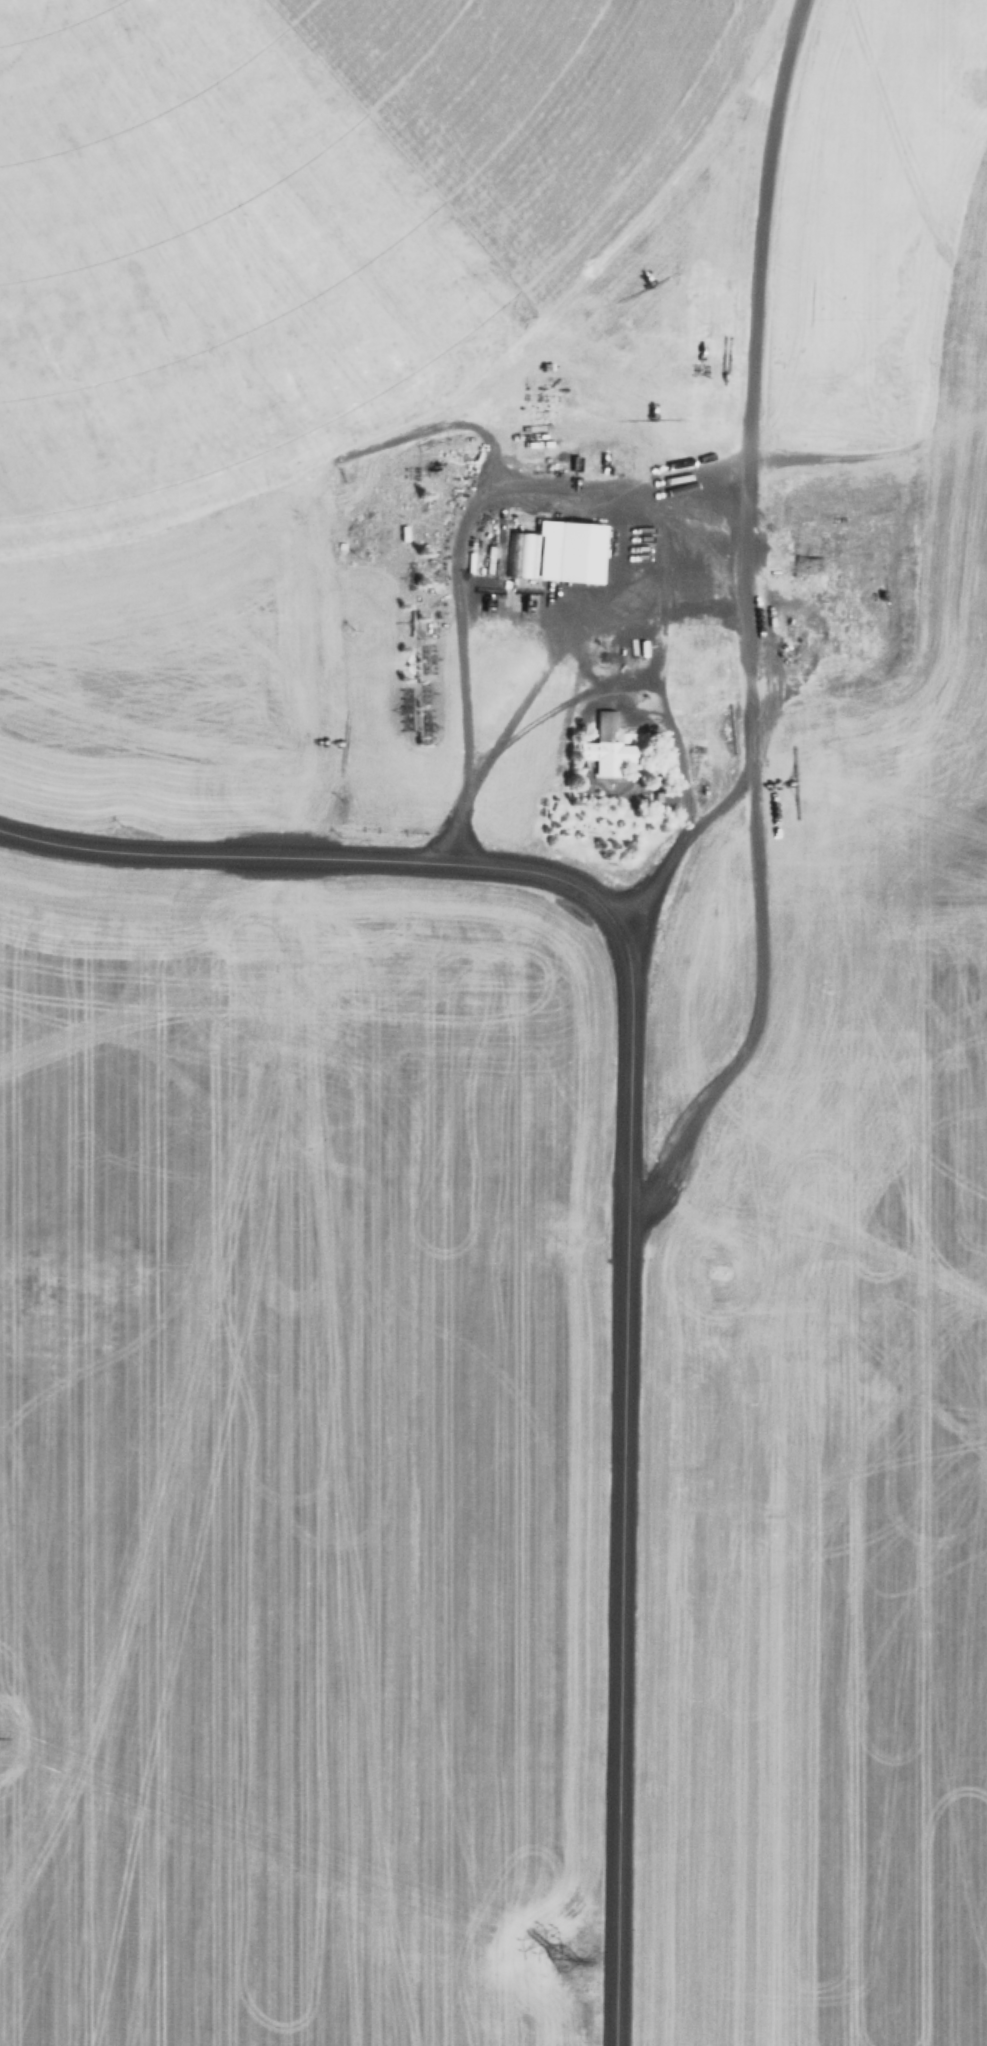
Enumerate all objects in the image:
building: (559, 551)
road: (743, 618)
building: (607, 747)
road: (674, 833)
road: (626, 1159)
power tower: (560, 1948)

